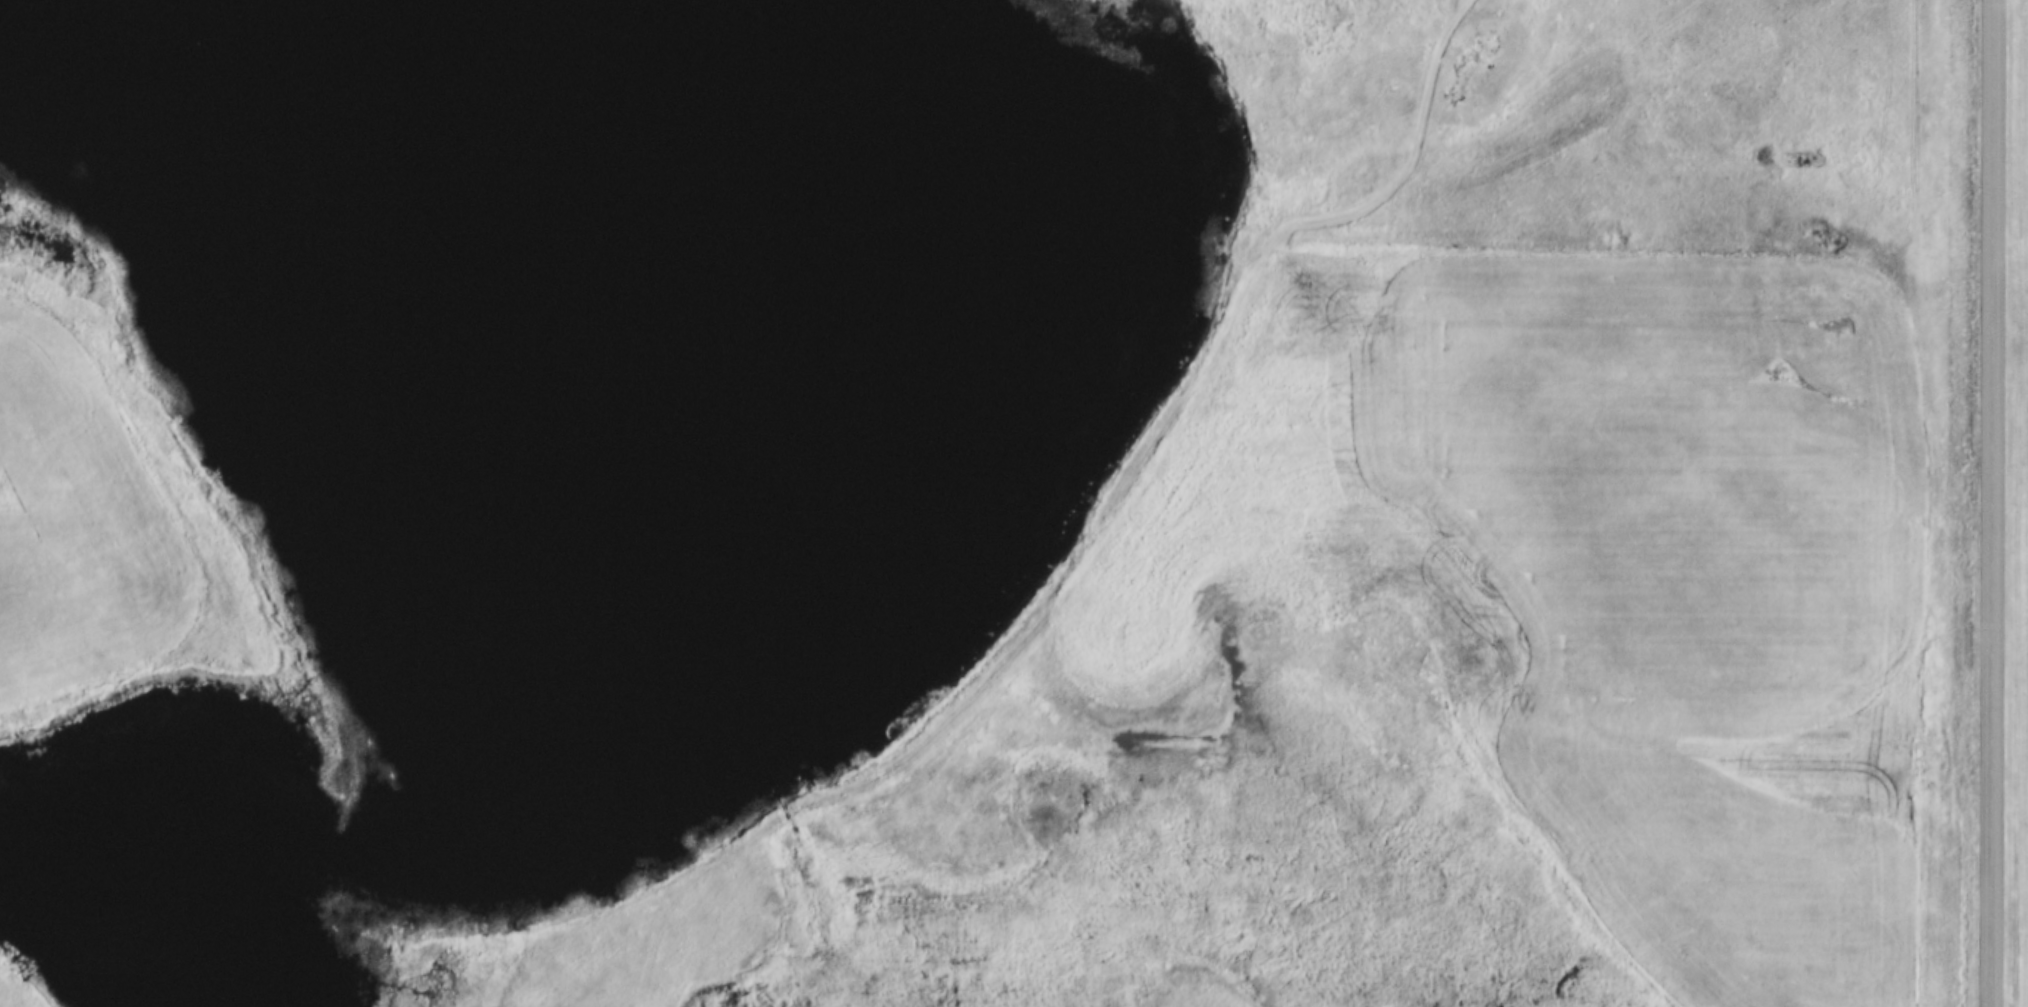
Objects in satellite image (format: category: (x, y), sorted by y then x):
road: (1994, 503)

